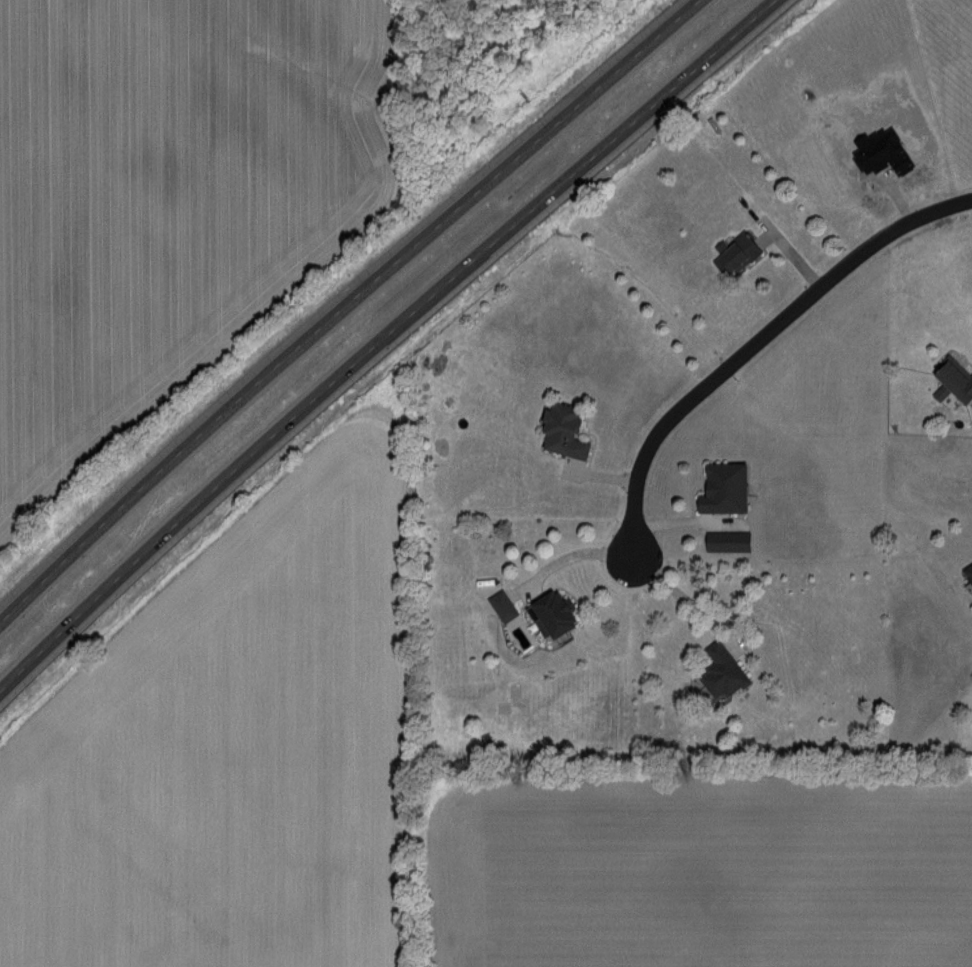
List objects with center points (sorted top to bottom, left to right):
building: (879, 151)
building: (737, 252)
road: (345, 305)
road: (758, 338)
road: (382, 339)
building: (950, 376)
building: (567, 430)
building: (727, 487)
building: (730, 541)
road: (574, 554)
building: (966, 573)
road: (683, 595)
building: (504, 605)
building: (556, 614)
building: (725, 672)

